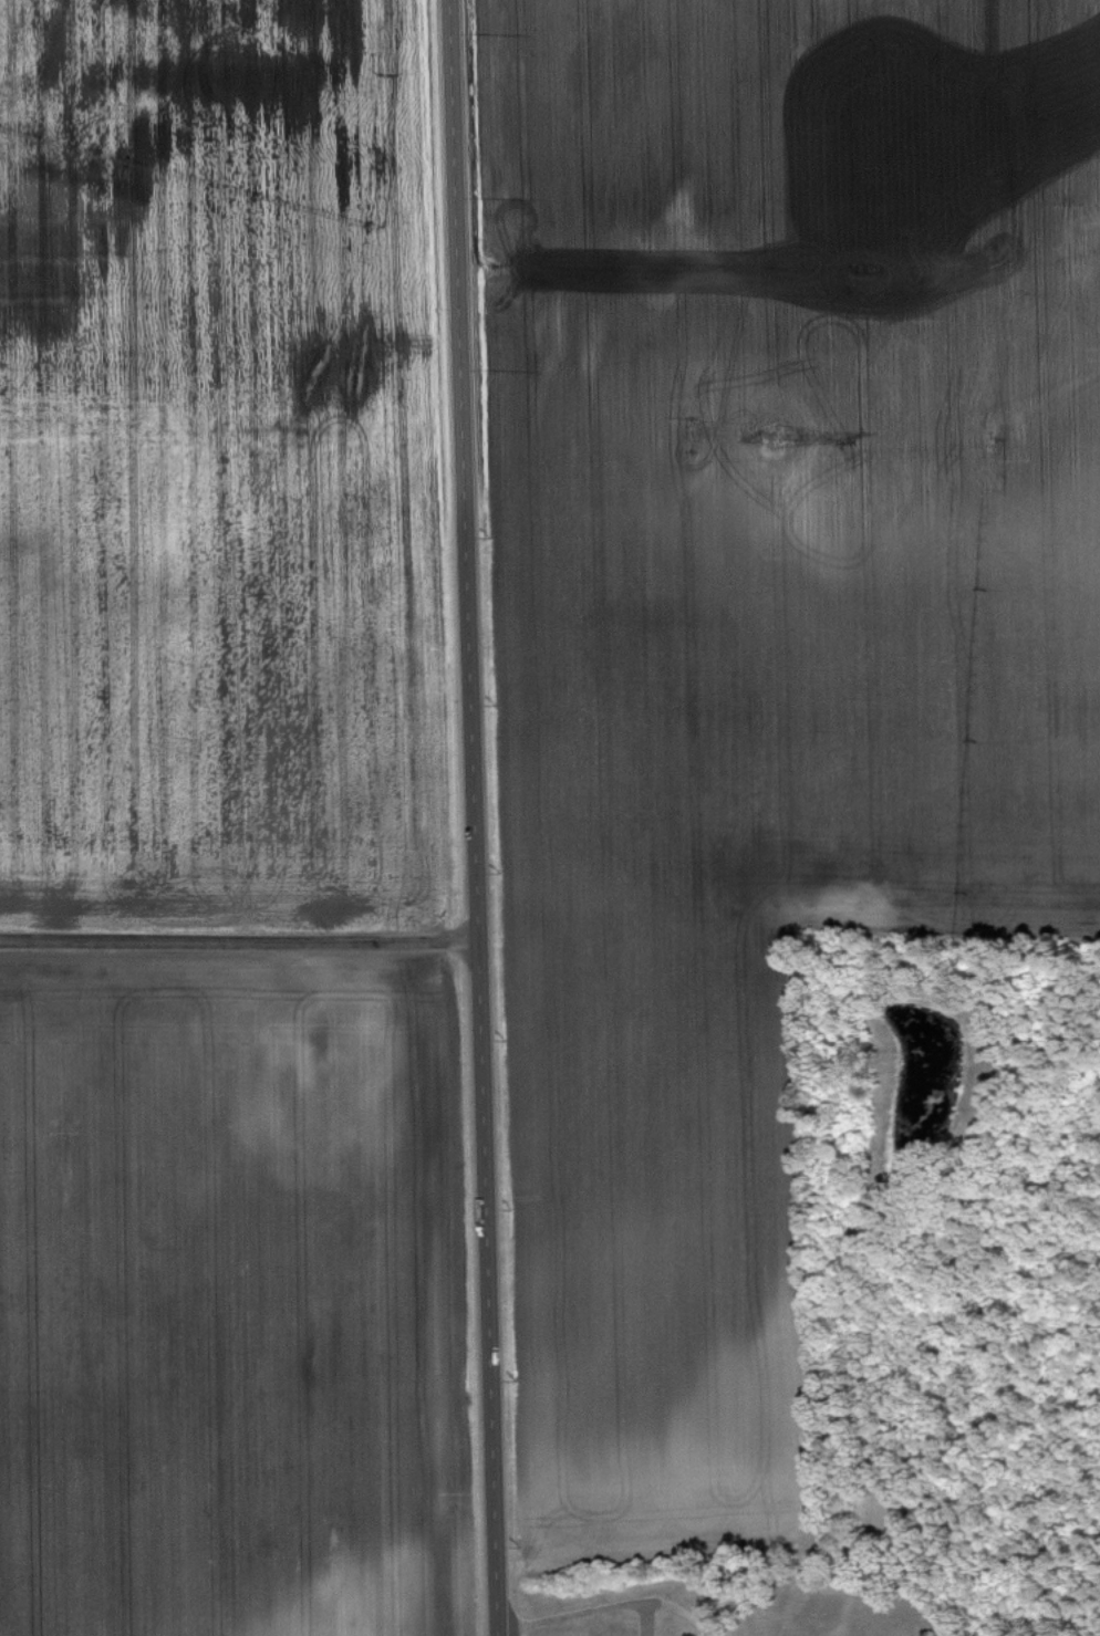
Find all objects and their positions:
road: (478, 817)
road: (240, 941)
road: (610, 1605)

